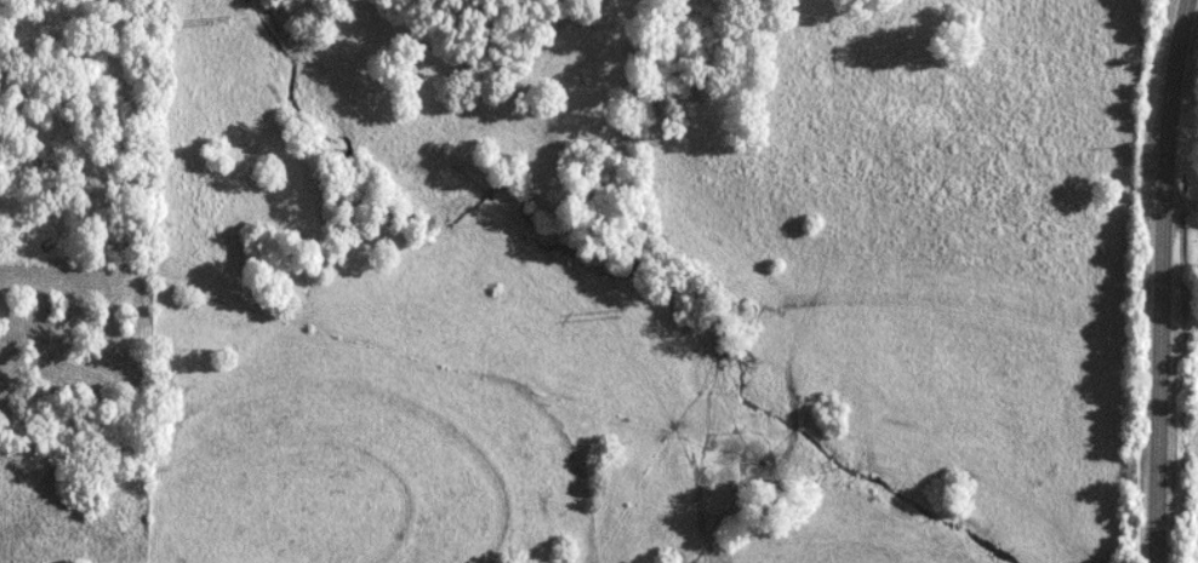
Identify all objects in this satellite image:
road: (1168, 280)

